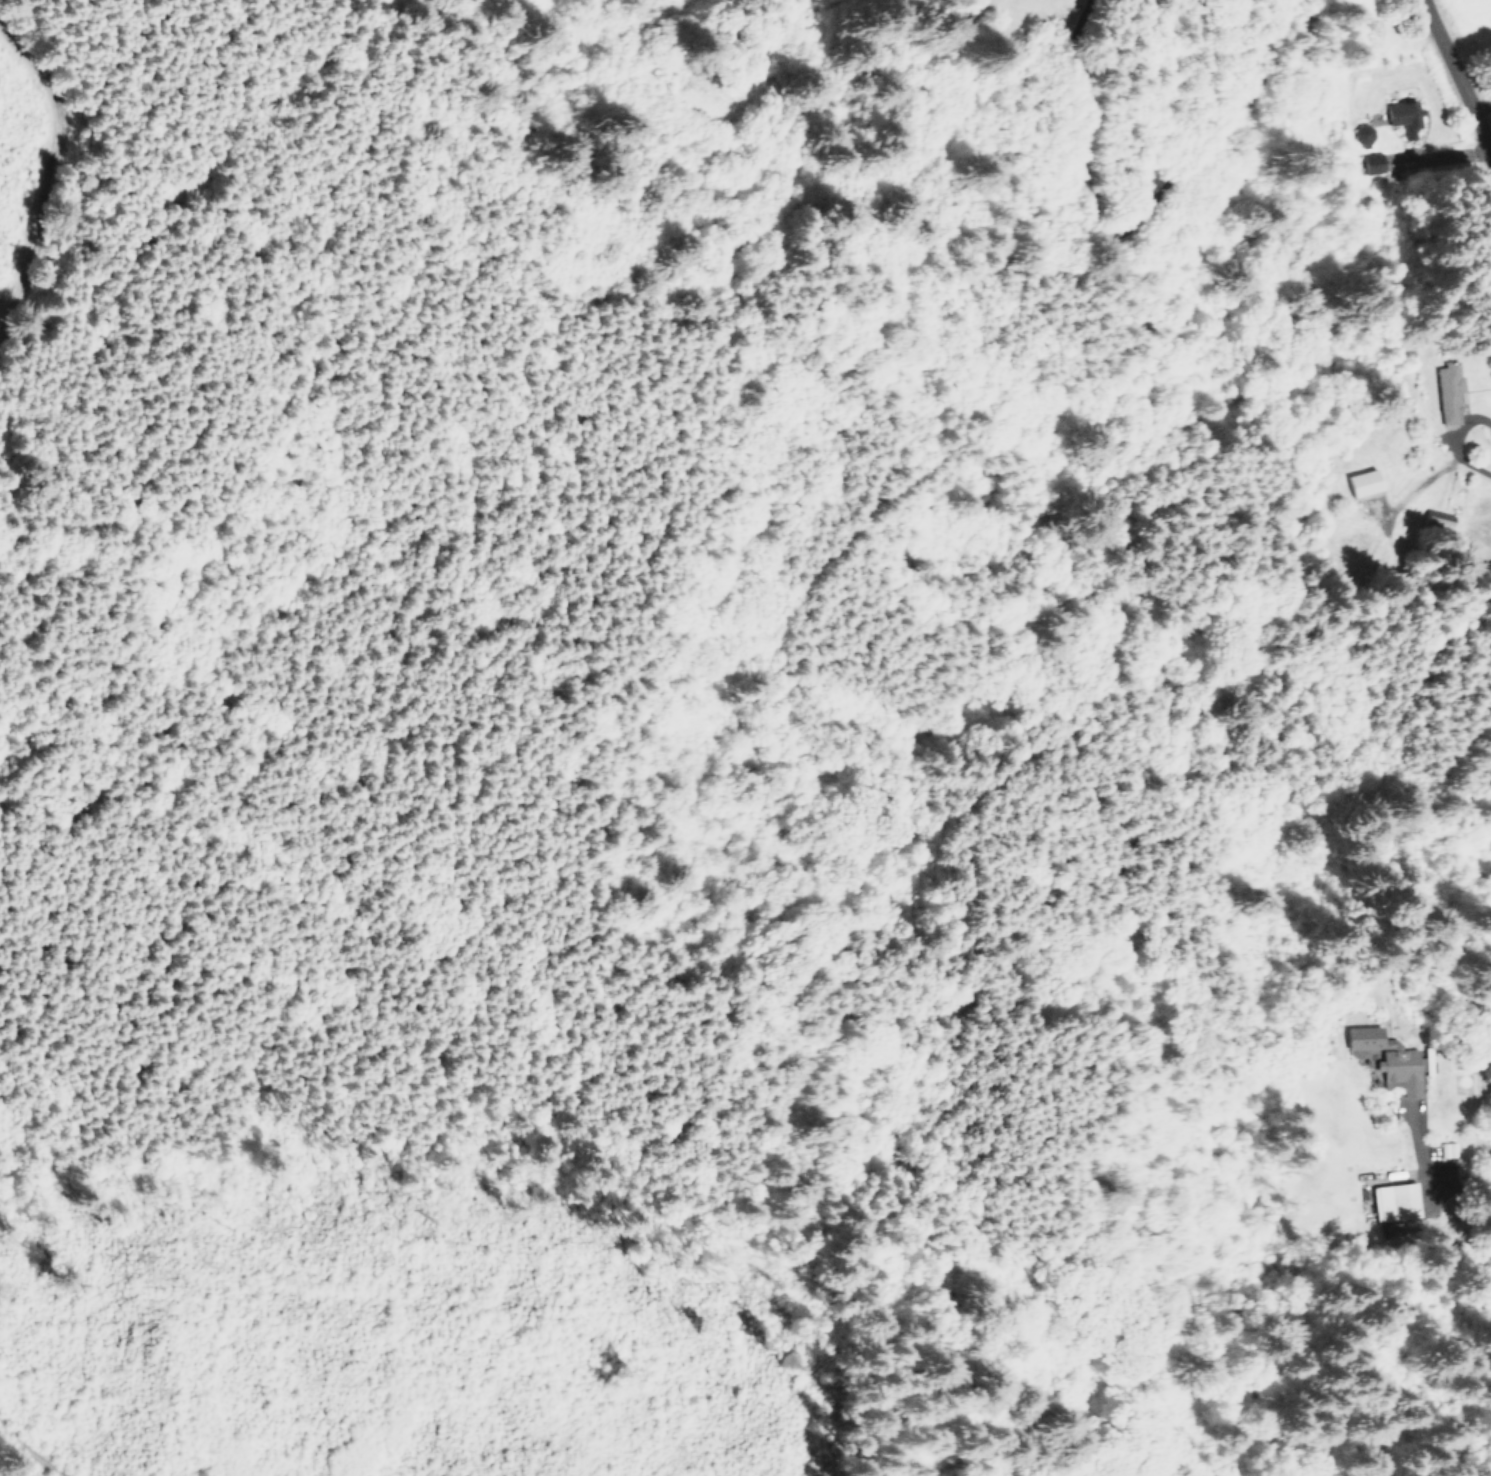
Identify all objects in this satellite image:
road: (1464, 86)
building: (1400, 115)
building: (1360, 135)
building: (1370, 163)
building: (1446, 391)
building: (1360, 481)
building: (1436, 519)
building: (1385, 1057)
building: (1391, 1201)

